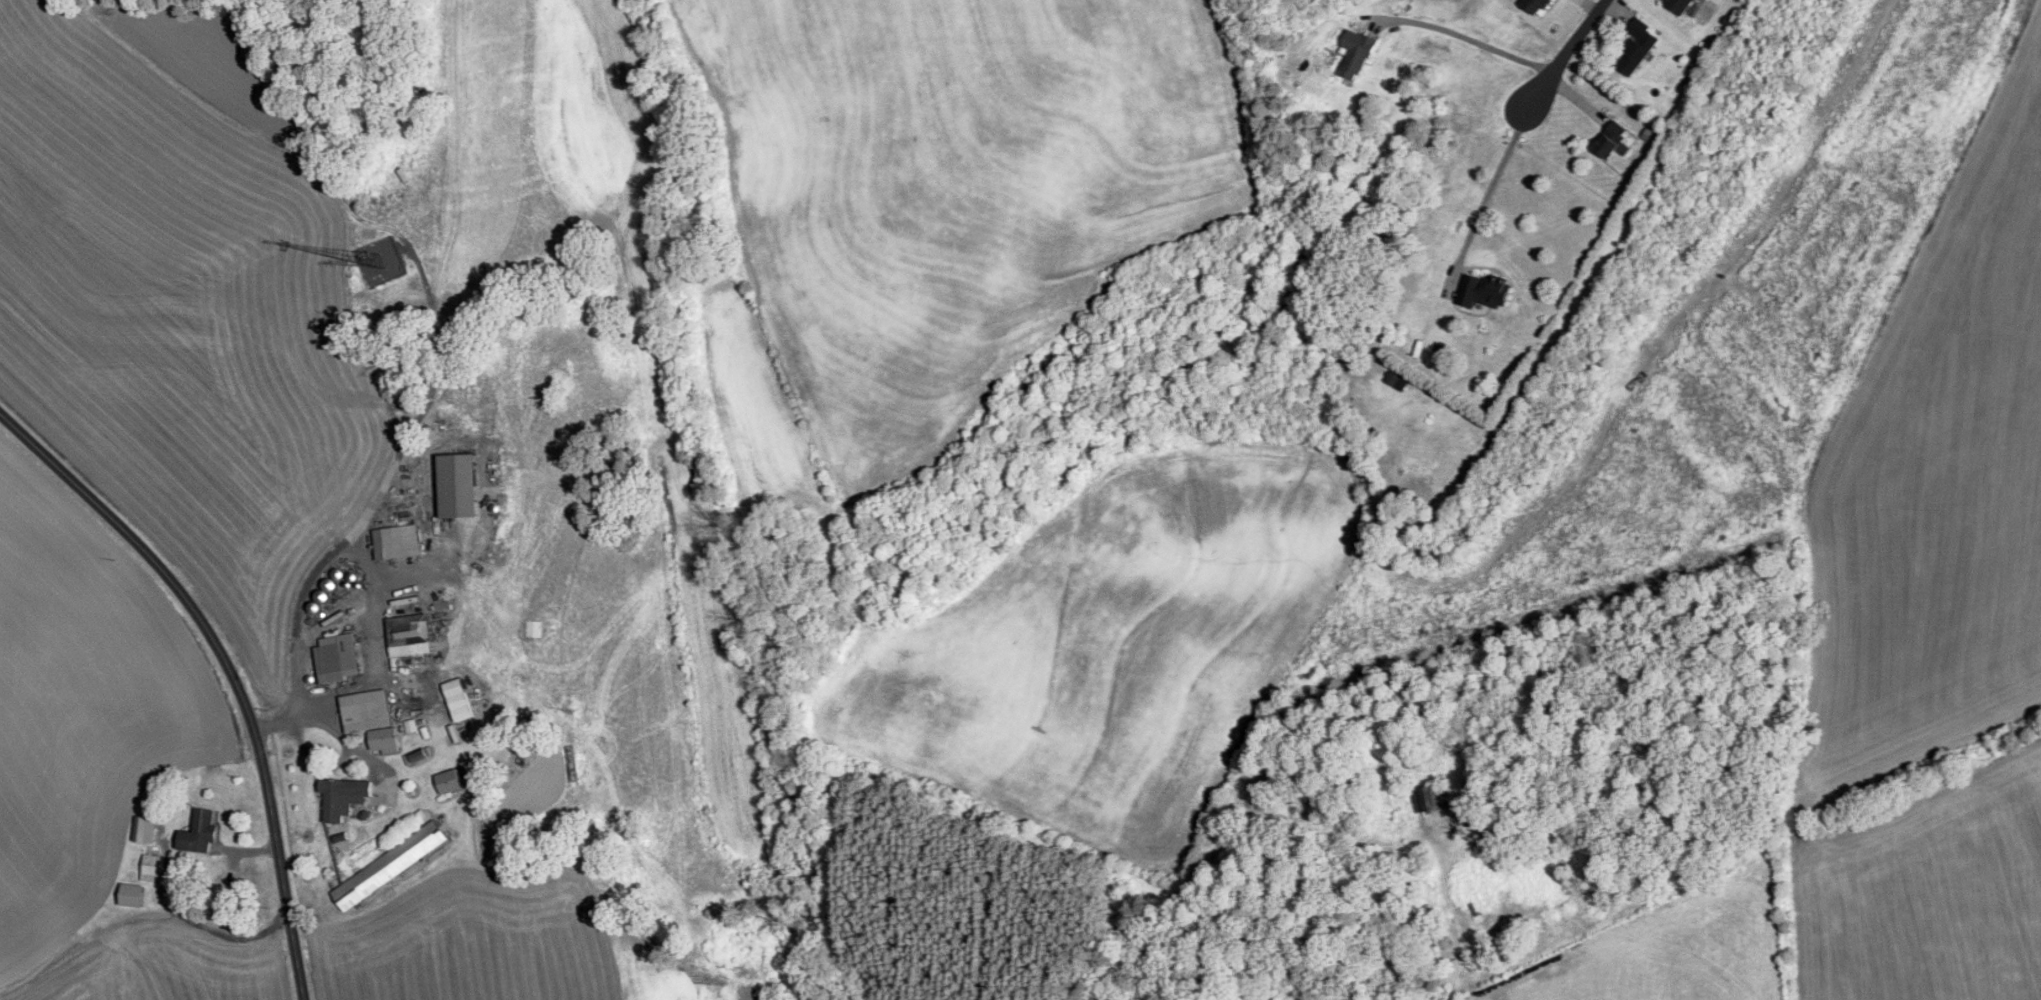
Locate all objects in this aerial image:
building: (1532, 5)
building: (1677, 6)
building: (1635, 47)
building: (1354, 54)
road: (1473, 55)
road: (1567, 57)
building: (1608, 139)
road: (1485, 202)
building: (1481, 291)
building: (455, 486)
building: (395, 542)
road: (373, 576)
building: (407, 636)
building: (336, 659)
road: (225, 668)
building: (456, 701)
building: (364, 711)
building: (341, 798)
building: (1429, 799)
building: (197, 834)
building: (387, 867)

